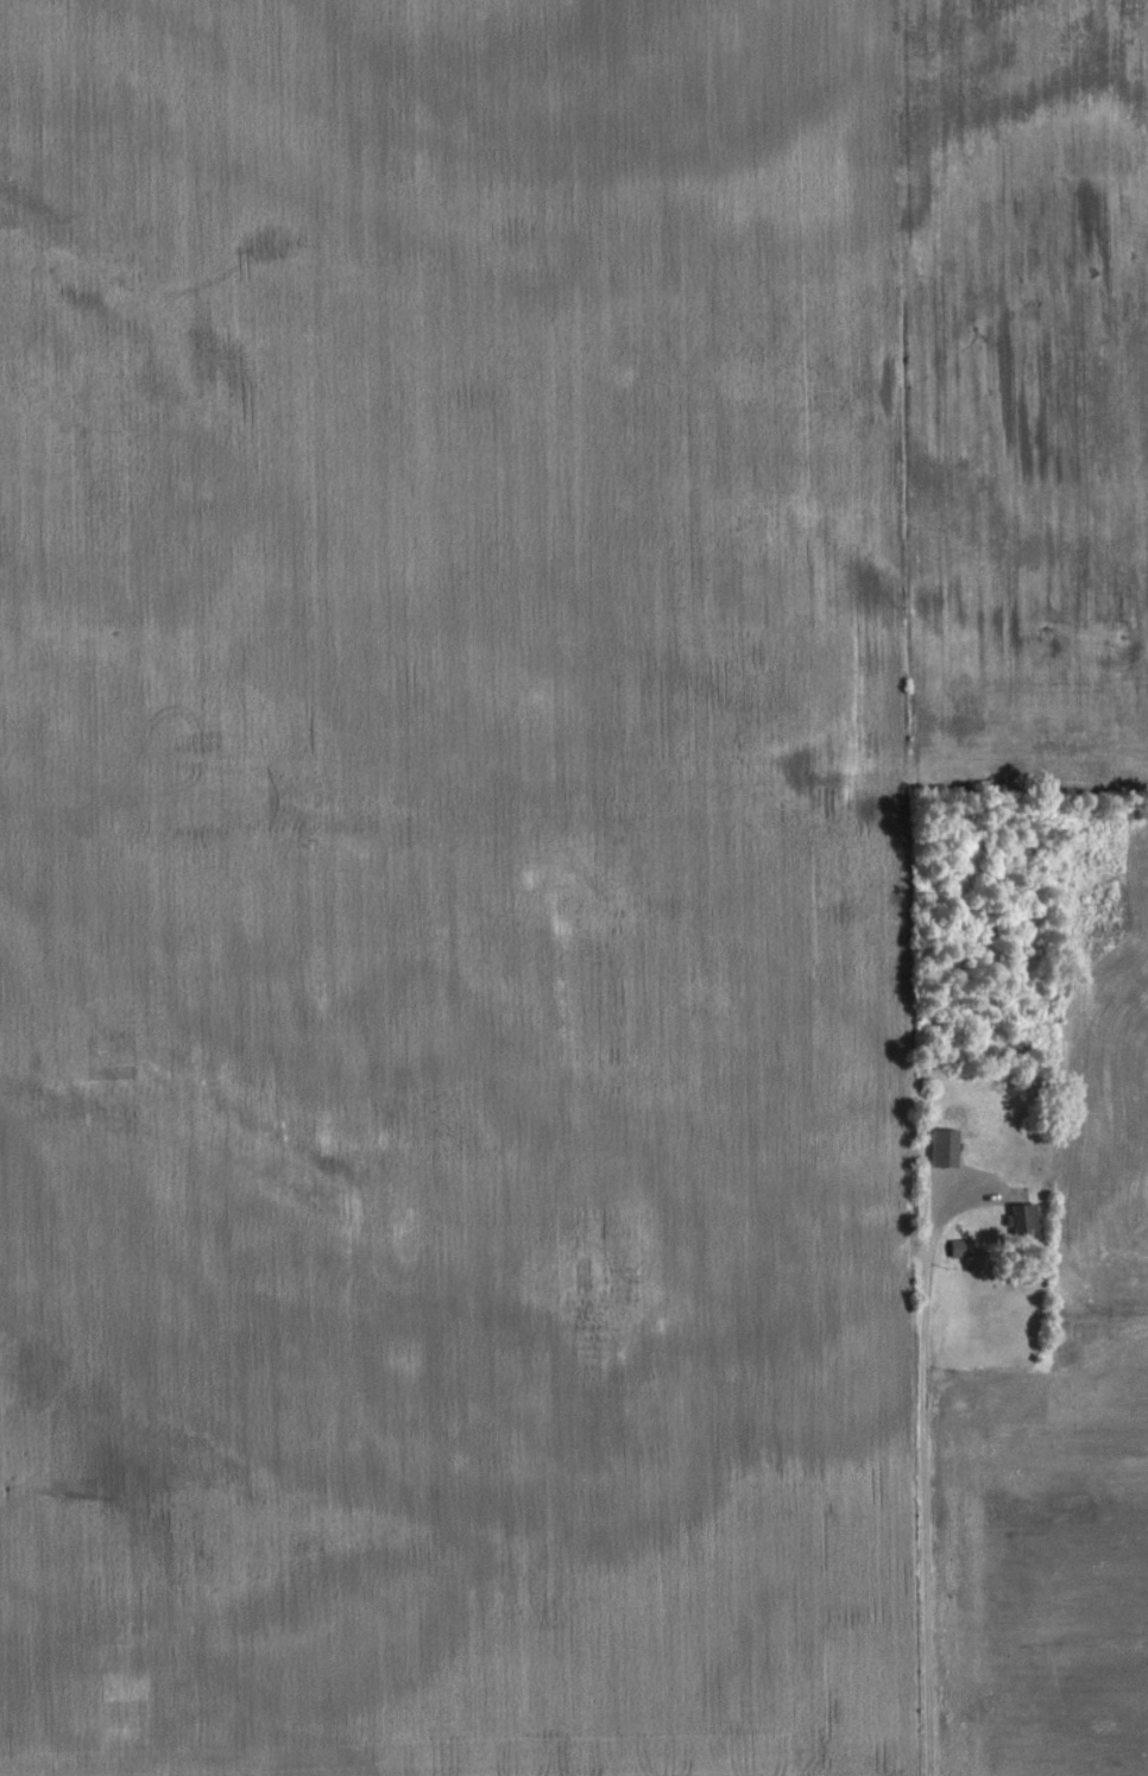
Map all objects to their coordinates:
building: (950, 1145)
building: (1028, 1215)
road: (923, 1508)

